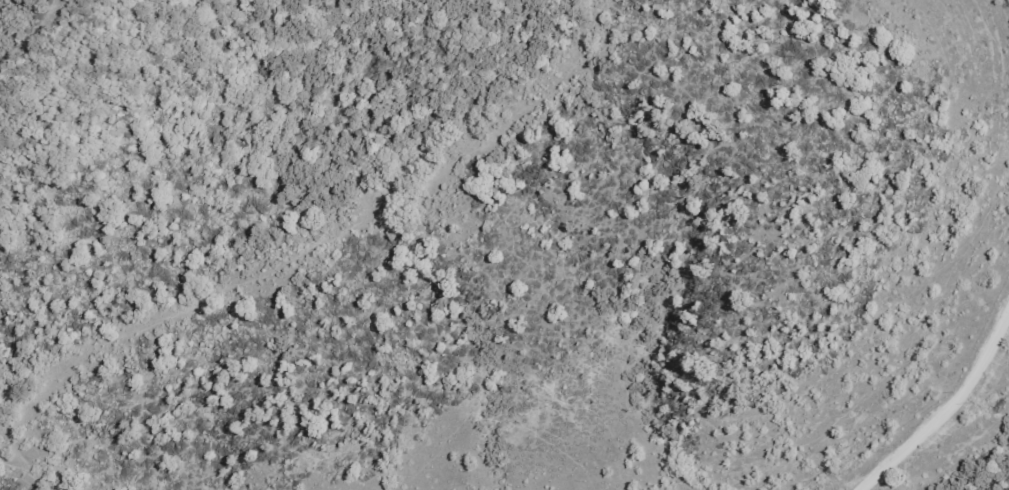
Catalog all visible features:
road: (946, 416)

